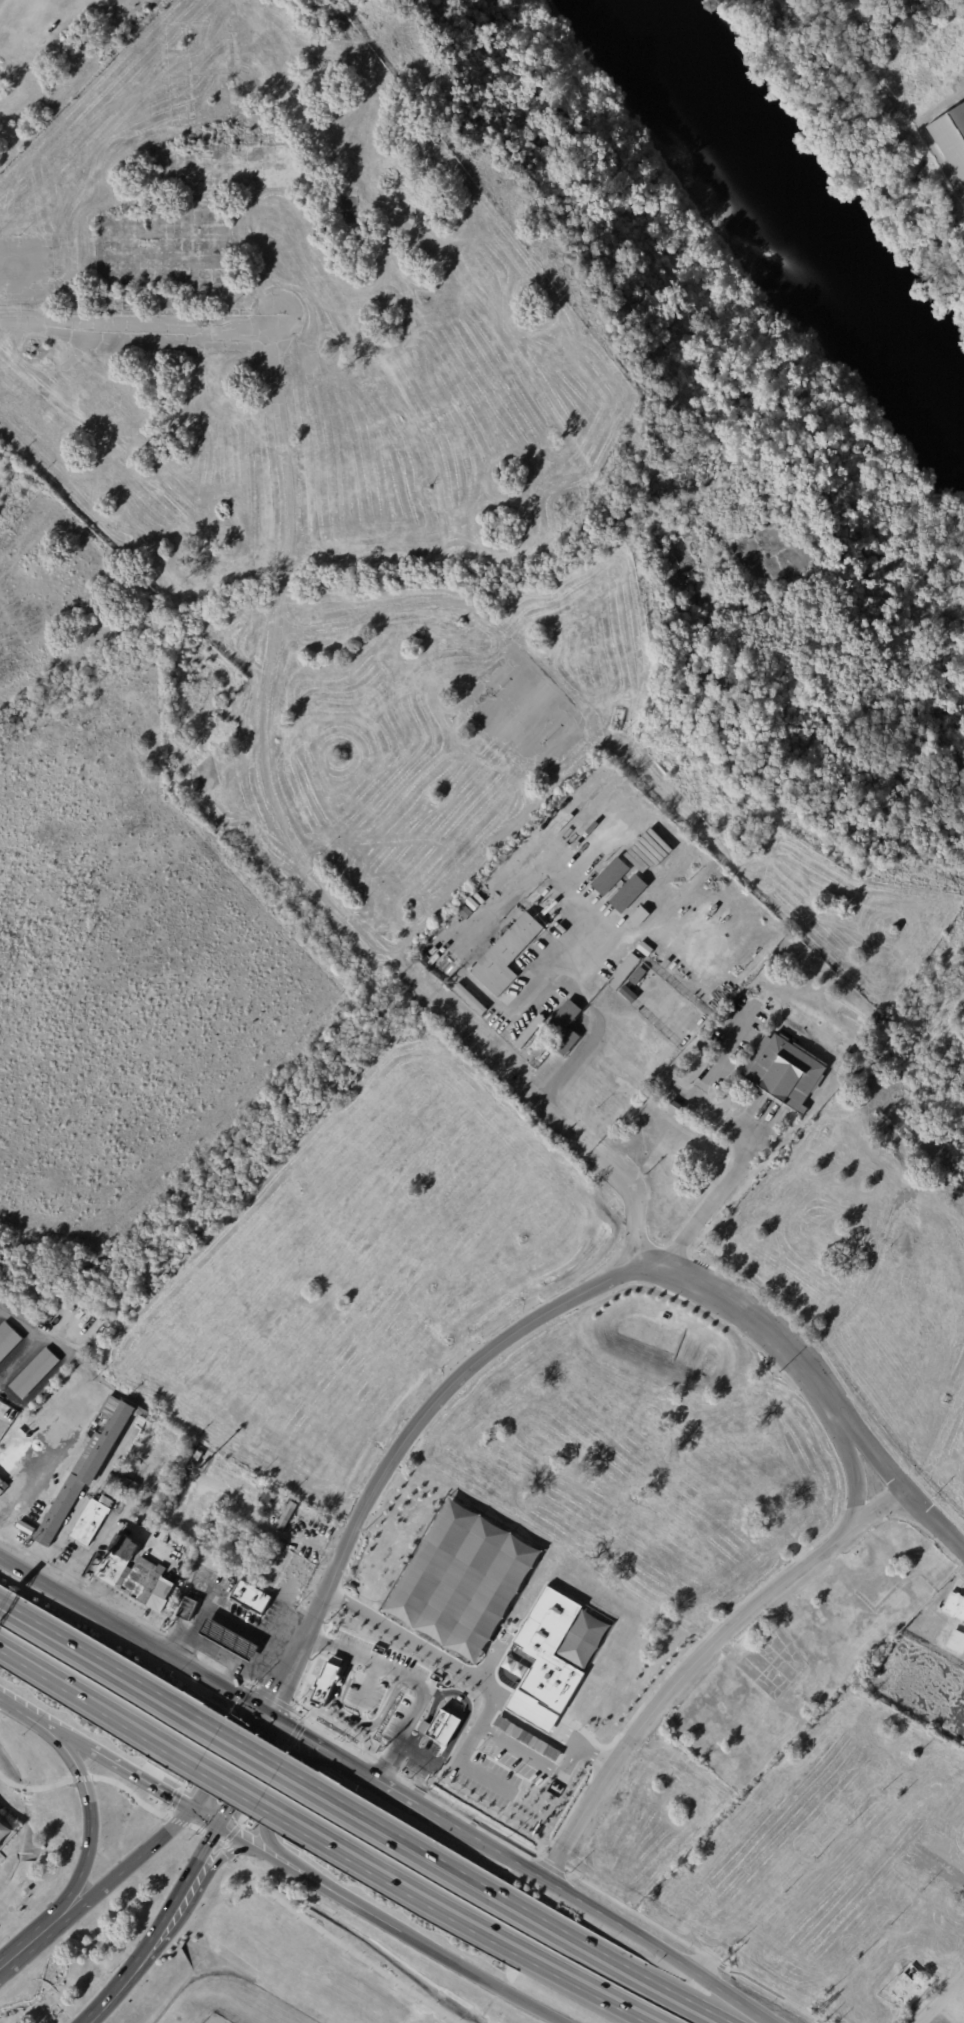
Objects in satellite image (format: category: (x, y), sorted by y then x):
road: (840, 71)
wastewater plant: (906, 98)
road: (939, 108)
building: (950, 141)
road: (939, 163)
river: (798, 221)
road: (136, 327)
road: (284, 453)
road: (283, 585)
building: (607, 777)
building: (646, 851)
building: (609, 875)
road: (320, 883)
building: (488, 888)
building: (627, 892)
building: (472, 904)
building: (463, 910)
building: (637, 916)
building: (511, 951)
building: (656, 961)
building: (716, 969)
building: (625, 971)
building: (638, 975)
building: (627, 993)
building: (471, 999)
building: (699, 1026)
building: (566, 1027)
building: (530, 1032)
building: (541, 1048)
building: (786, 1072)
road: (552, 1081)
road: (745, 1134)
building: (19, 1313)
building: (79, 1319)
road: (526, 1321)
road: (34, 1338)
building: (8, 1341)
building: (35, 1374)
building: (7, 1412)
building: (199, 1457)
building: (85, 1474)
building: (124, 1485)
building: (2, 1486)
road: (9, 1492)
road: (85, 1498)
building: (266, 1499)
building: (107, 1502)
building: (287, 1517)
road: (934, 1520)
building: (91, 1523)
road: (486, 1535)
building: (118, 1561)
road: (462, 1577)
building: (489, 1580)
building: (148, 1582)
building: (251, 1597)
road: (122, 1604)
building: (954, 1605)
building: (188, 1609)
road: (223, 1613)
road: (437, 1619)
road: (281, 1624)
road: (132, 1636)
building: (229, 1638)
gas station: (229, 1638)
road: (481, 1640)
building: (955, 1641)
road: (476, 1648)
road: (490, 1652)
road: (97, 1657)
building: (552, 1658)
road: (444, 1661)
road: (701, 1664)
road: (239, 1666)
road: (481, 1668)
road: (233, 1679)
building: (328, 1681)
road: (411, 1681)
road: (84, 1702)
road: (12, 1707)
traffic signals: (266, 1713)
building: (444, 1730)
road: (56, 1734)
road: (305, 1737)
building: (526, 1738)
road: (576, 1745)
road: (512, 1746)
road: (253, 1748)
road: (67, 1752)
road: (224, 1758)
road: (249, 1772)
road: (478, 1778)
road: (139, 1781)
road: (229, 1789)
road: (394, 1789)
traffic signals: (192, 1811)
road: (266, 1813)
road: (206, 1820)
traffic signals: (220, 1829)
road: (235, 1837)
parking lot: (5, 1840)
road: (503, 1842)
road: (492, 1848)
road: (244, 1856)
road: (82, 1868)
road: (123, 1869)
road: (290, 1870)
road: (520, 1905)
road: (170, 1908)
road: (366, 1911)
road: (186, 1913)
road: (464, 1927)
airport: (158, 1931)
road: (656, 1947)
road: (27, 1950)
road: (481, 1977)
road: (942, 2000)
road: (102, 2005)

